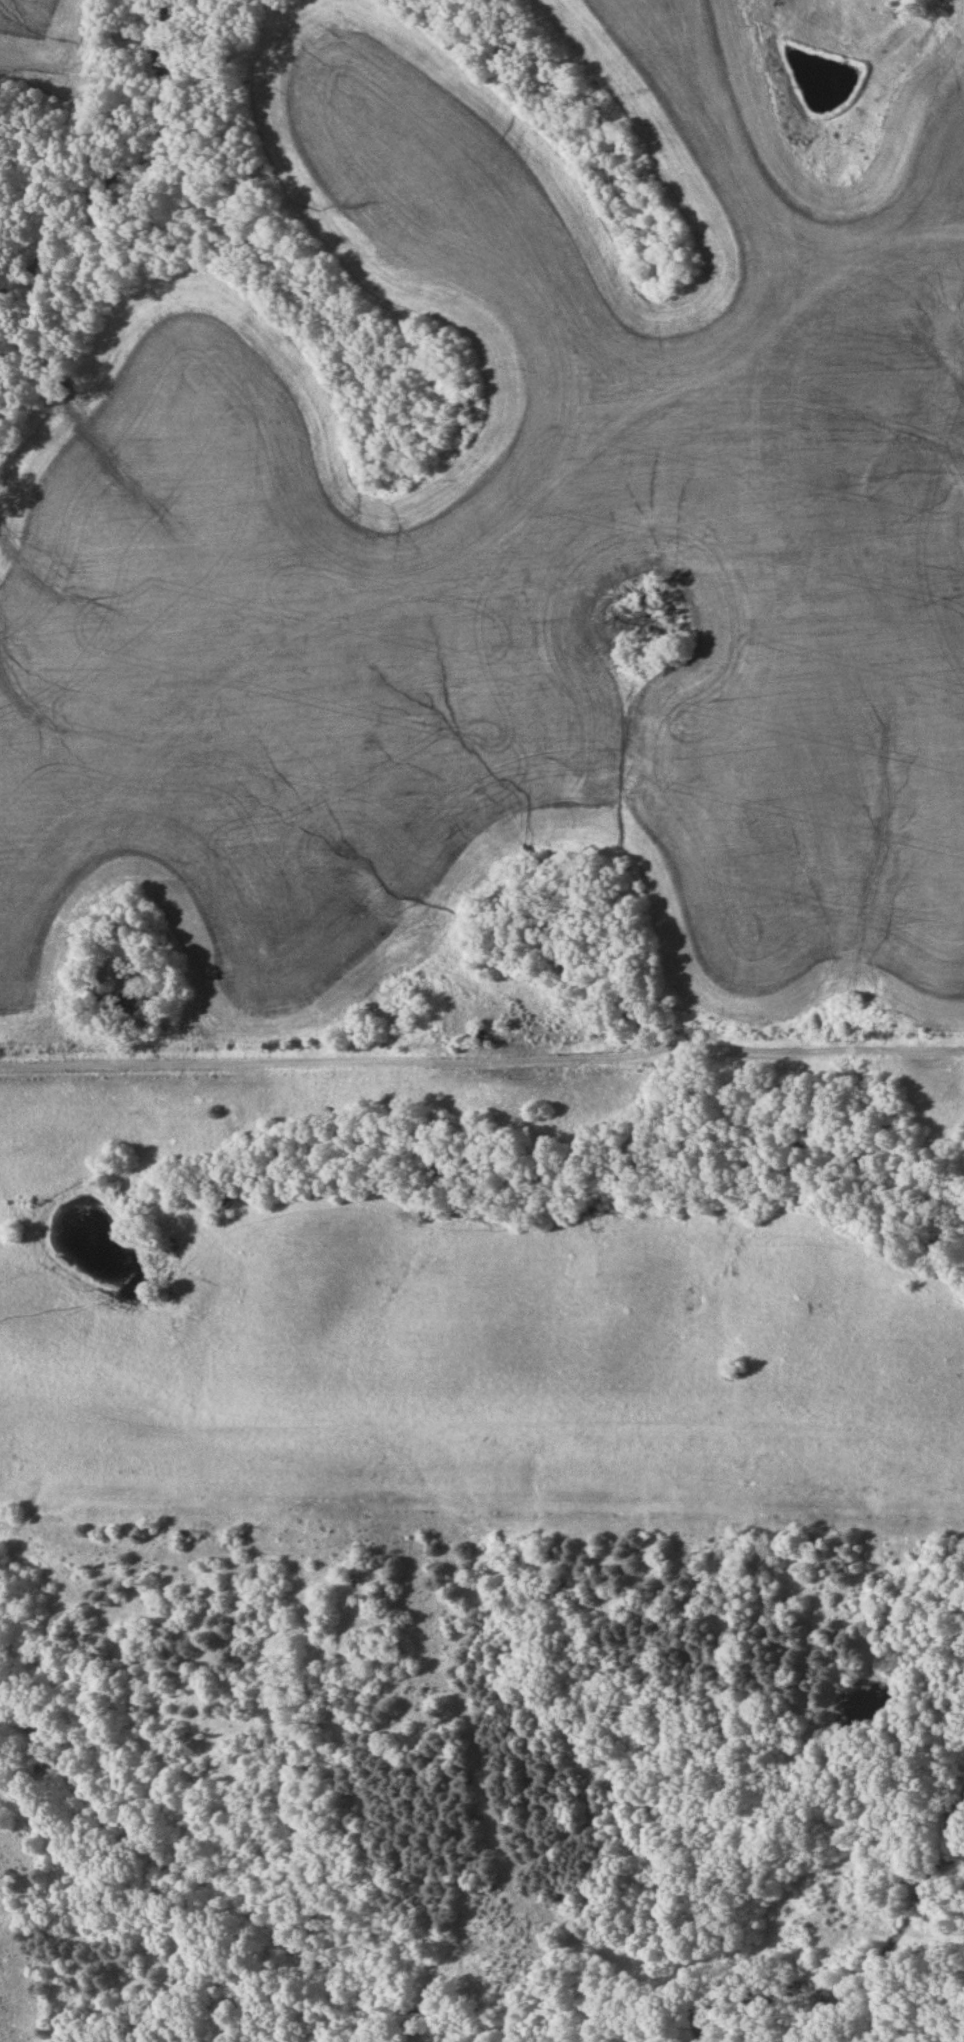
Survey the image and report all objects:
road: (482, 1059)

